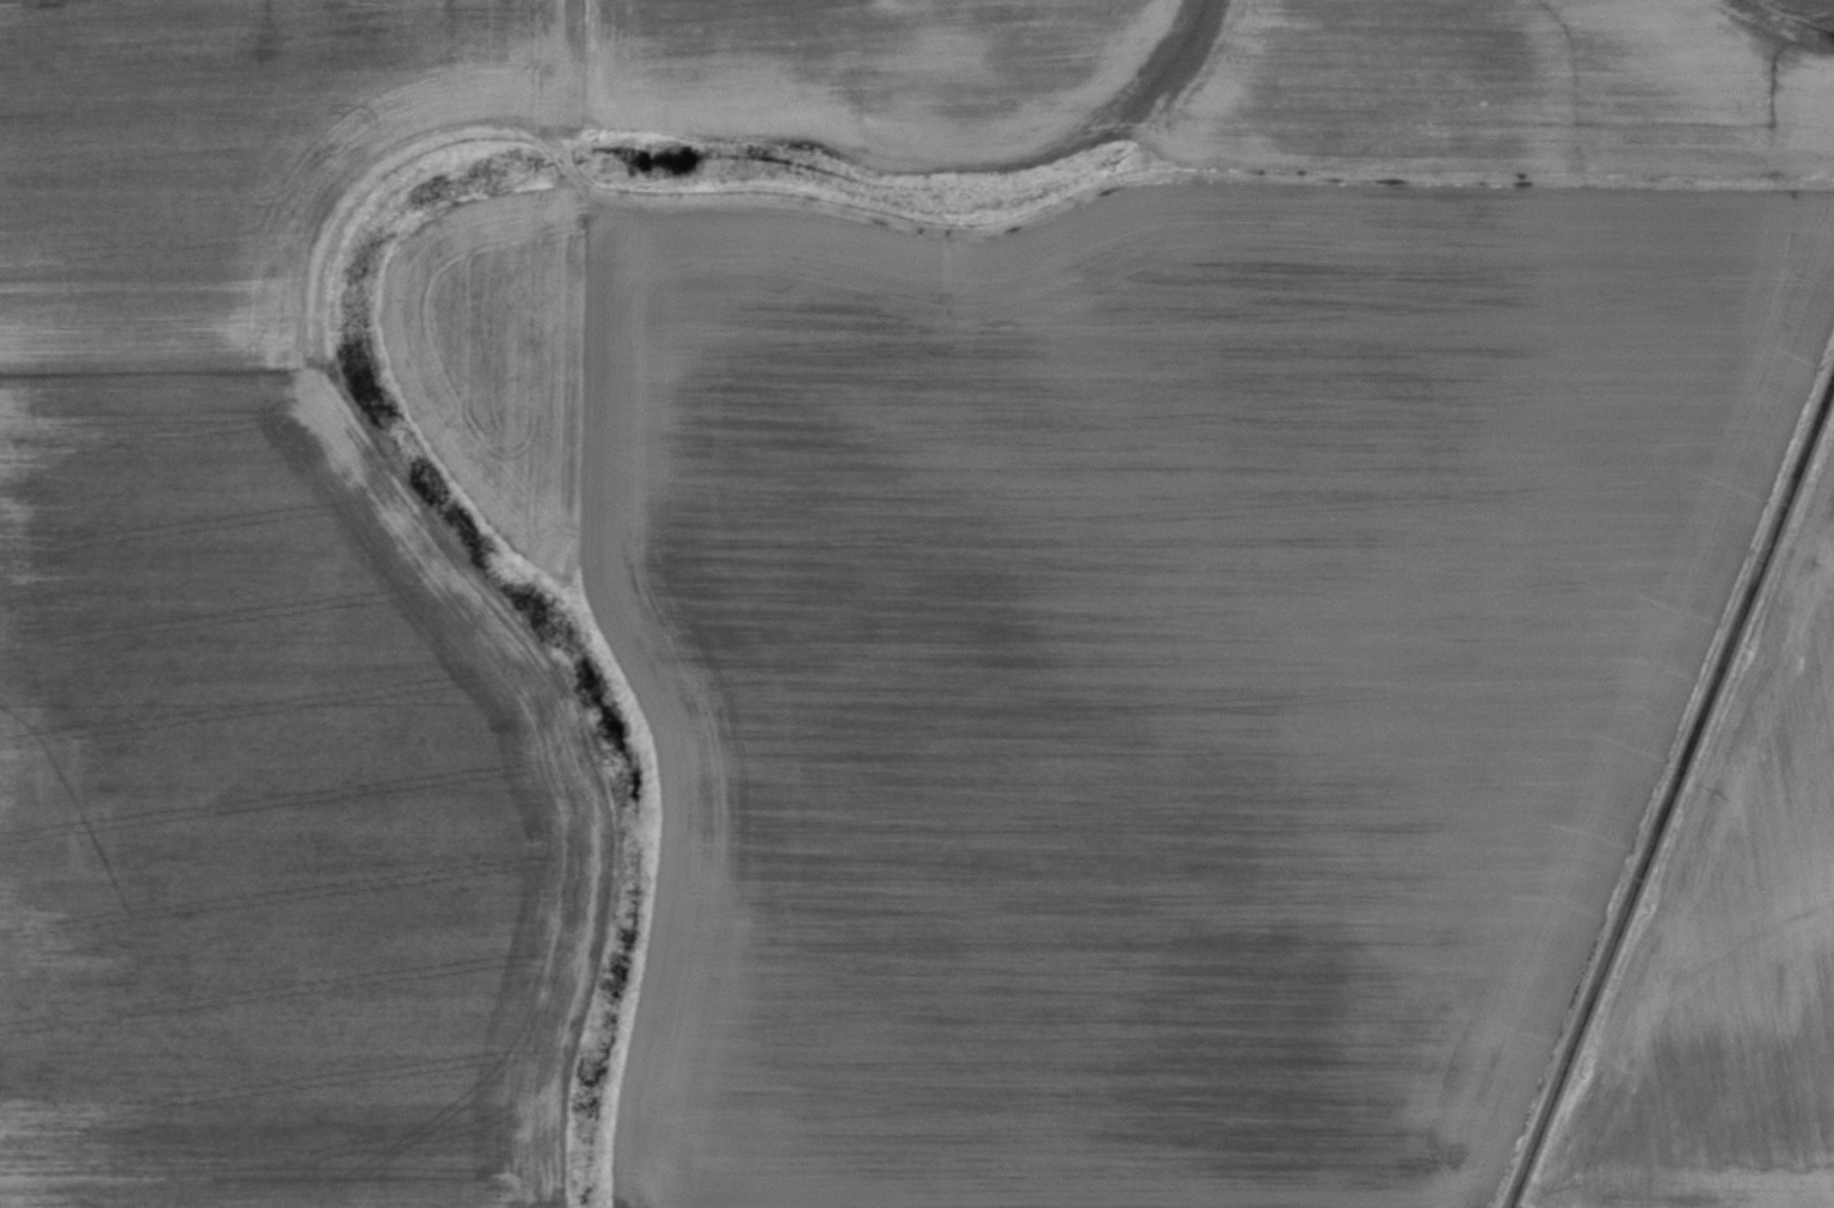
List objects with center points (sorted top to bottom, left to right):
road: (1638, 677)

